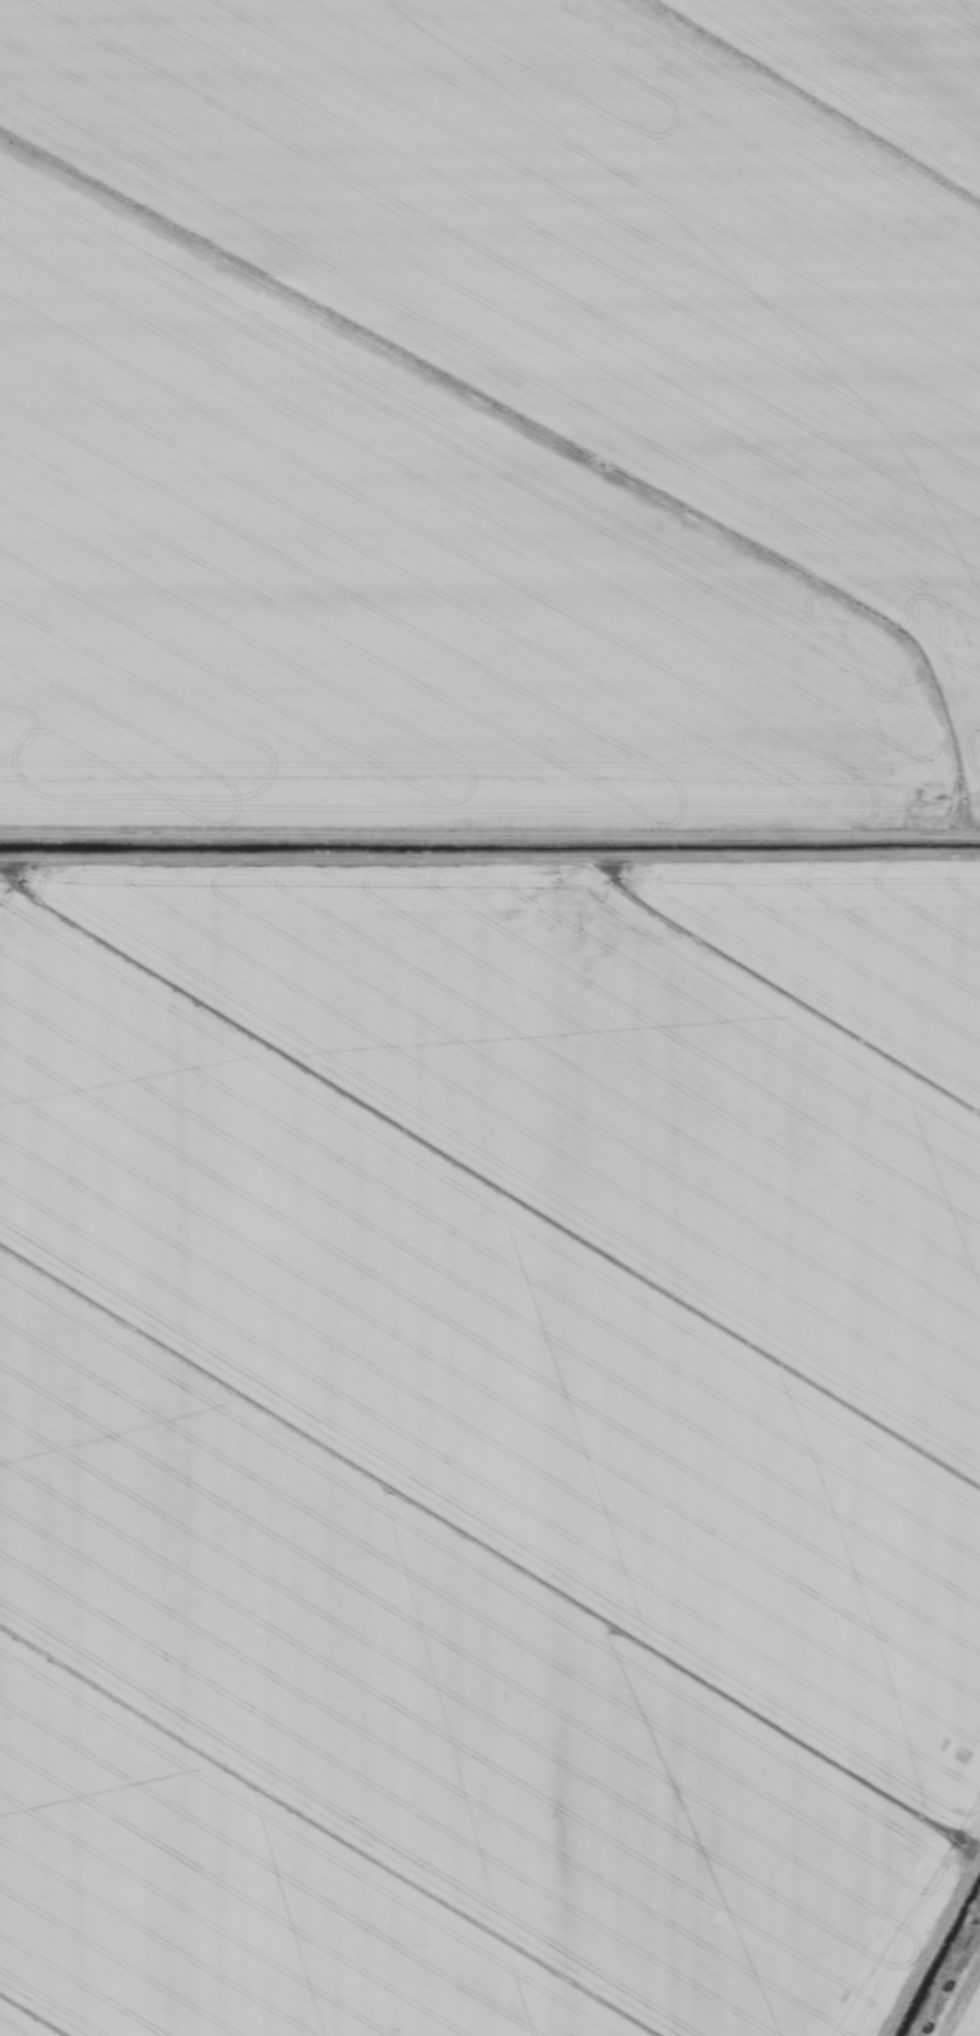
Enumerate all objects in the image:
road: (955, 1989)

